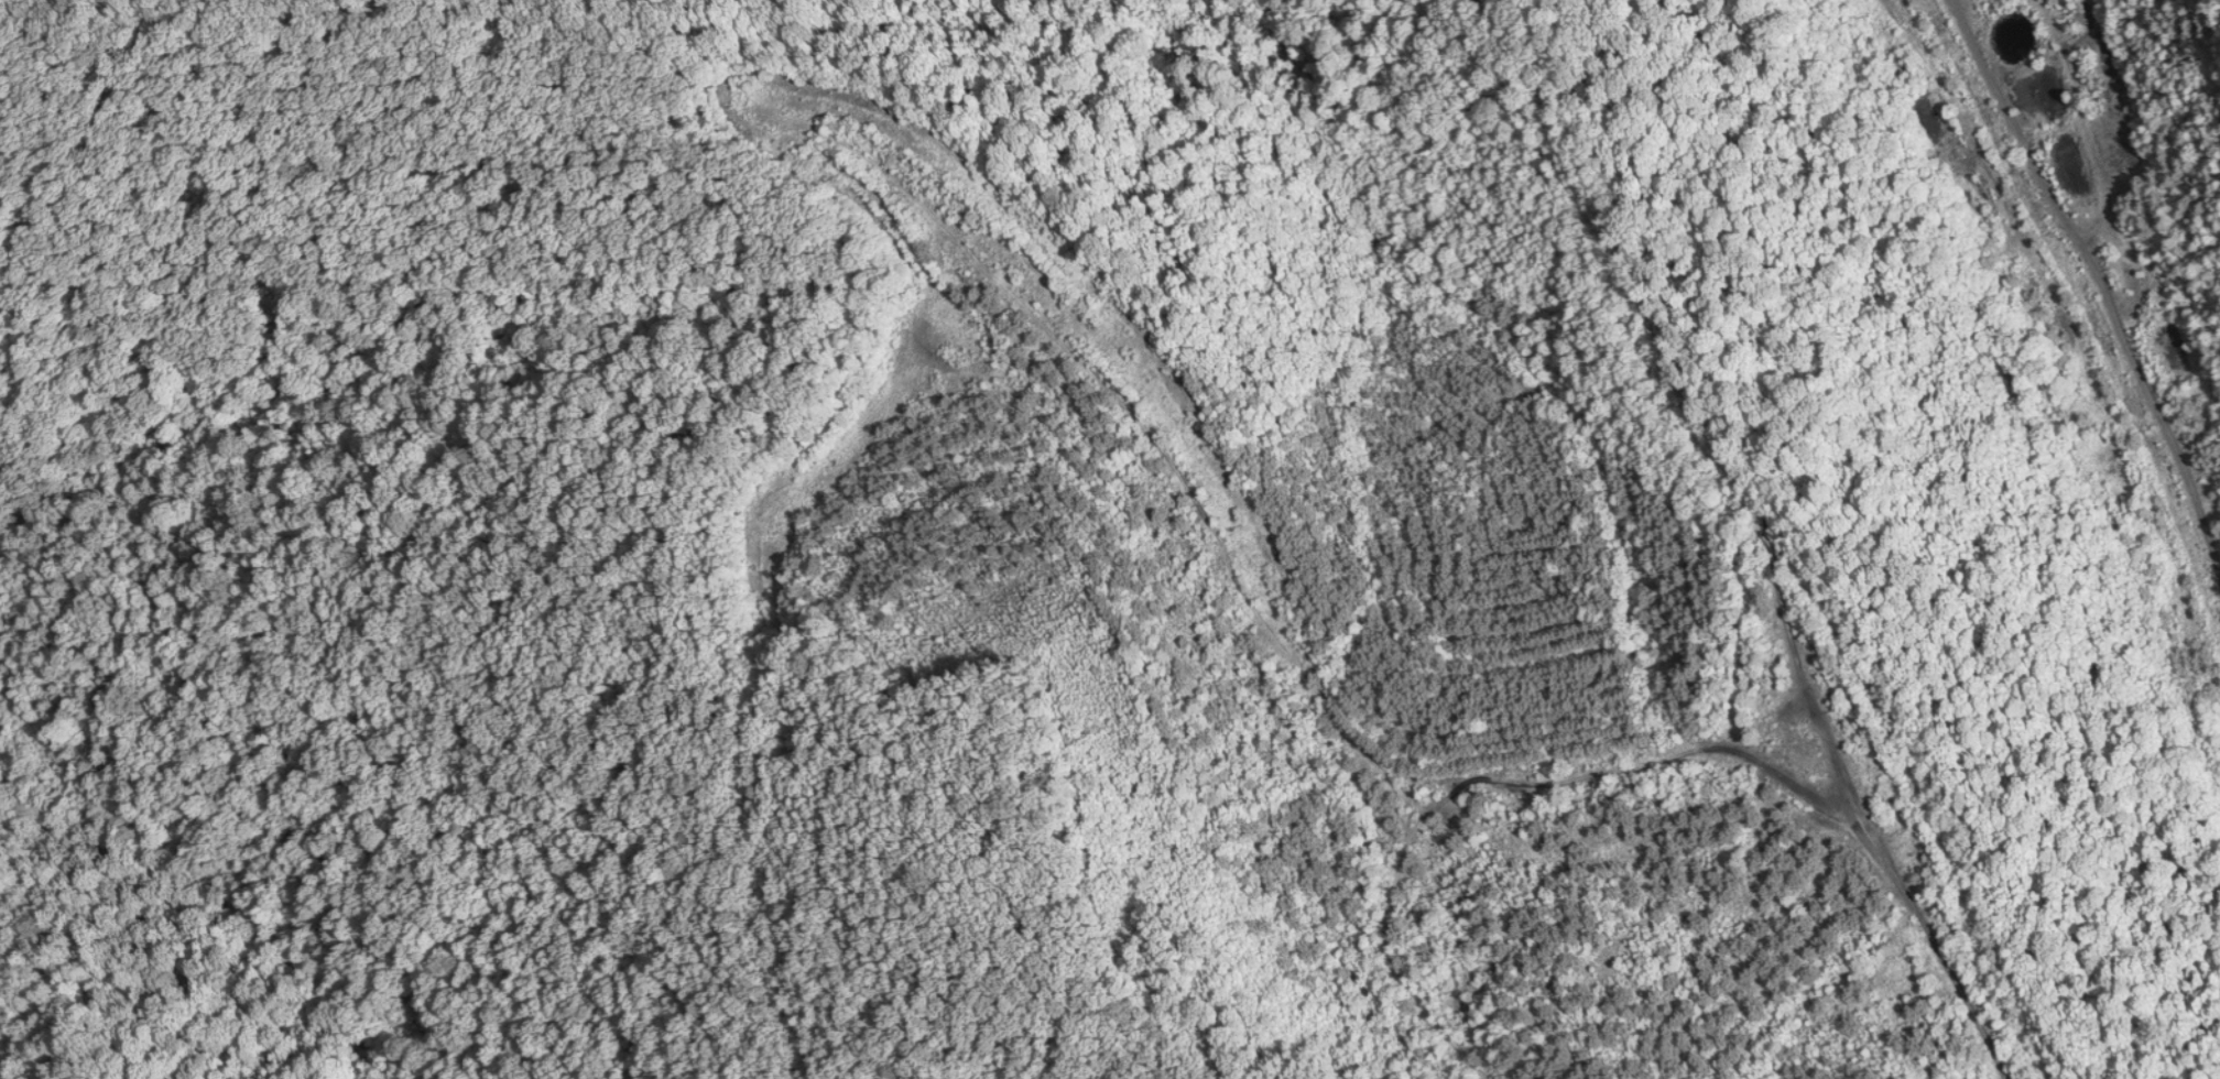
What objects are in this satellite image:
quarry: (1273, 615)

